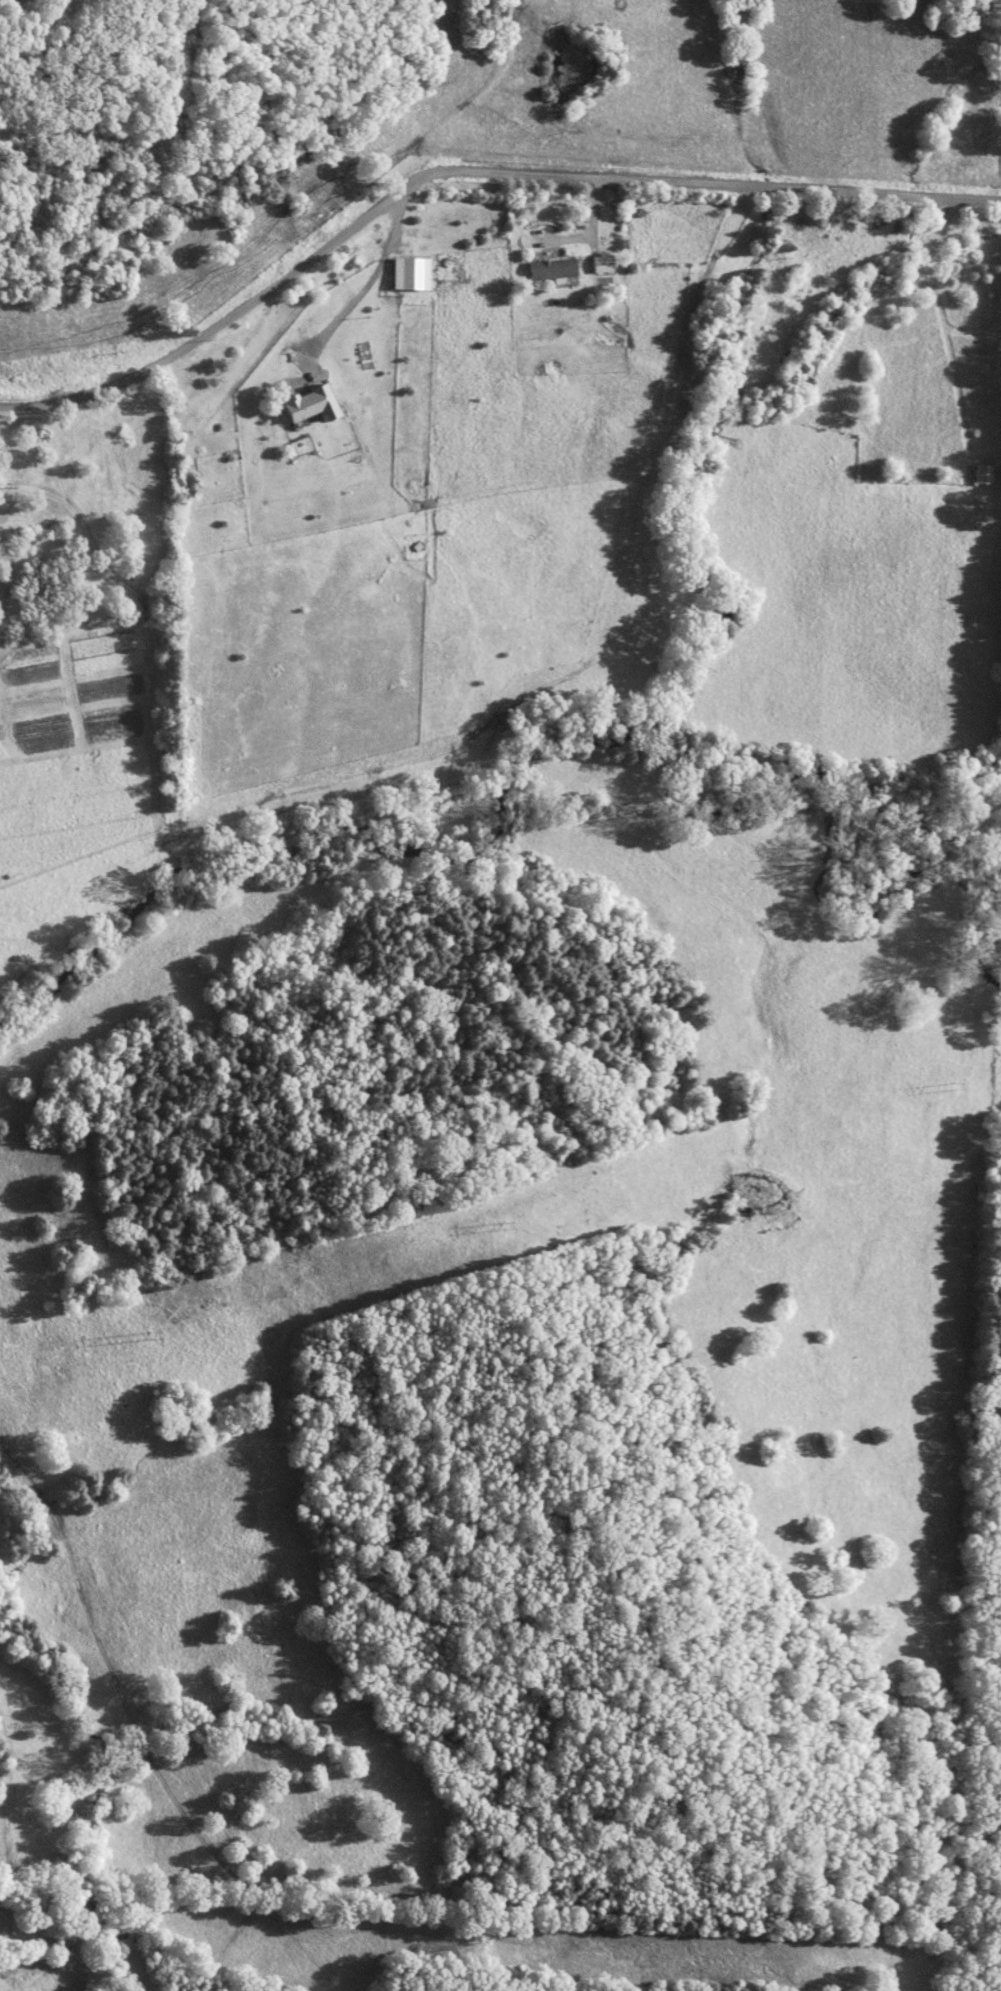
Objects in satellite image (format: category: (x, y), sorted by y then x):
road: (465, 170)
building: (602, 263)
building: (552, 268)
road: (366, 285)
building: (311, 404)
building: (984, 473)
power tower: (947, 1077)
power tower: (497, 1219)
power tower: (145, 1326)

